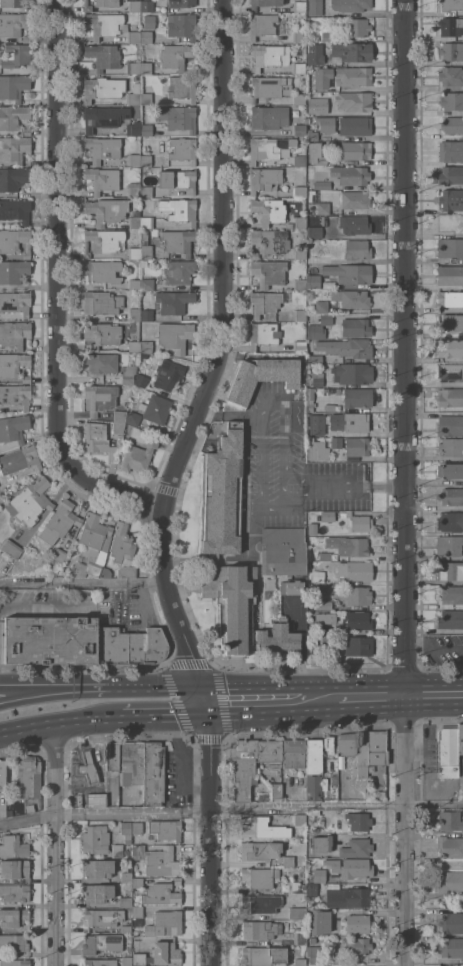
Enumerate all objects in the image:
building: (11, 3)
building: (106, 3)
building: (181, 3)
building: (264, 3)
building: (350, 4)
building: (450, 4)
building: (134, 5)
building: (147, 5)
building: (87, 6)
building: (300, 6)
building: (315, 7)
building: (149, 21)
building: (15, 24)
building: (181, 25)
building: (261, 25)
building: (110, 26)
building: (354, 26)
building: (450, 26)
building: (146, 35)
building: (299, 36)
building: (327, 36)
building: (352, 51)
building: (451, 51)
building: (314, 53)
building: (16, 55)
building: (270, 55)
building: (103, 56)
building: (175, 56)
building: (134, 67)
building: (146, 67)
building: (299, 67)
building: (451, 75)
building: (353, 76)
building: (137, 77)
building: (322, 77)
building: (13, 86)
building: (270, 86)
building: (182, 87)
building: (102, 88)
building: (134, 94)
building: (146, 98)
building: (299, 98)
building: (452, 100)
building: (354, 101)
building: (317, 105)
building: (104, 116)
building: (269, 116)
building: (15, 117)
building: (182, 118)
building: (309, 119)
building: (326, 124)
building: (355, 125)
building: (452, 125)
building: (133, 127)
building: (300, 128)
building: (146, 129)
building: (312, 133)
building: (14, 147)
building: (102, 148)
building: (269, 148)
building: (183, 149)
building: (357, 150)
building: (450, 151)
building: (315, 153)
building: (299, 157)
building: (134, 159)
building: (146, 160)
building: (350, 174)
building: (450, 174)
building: (13, 177)
building: (102, 178)
building: (178, 179)
building: (264, 179)
building: (320, 184)
building: (134, 189)
building: (146, 191)
building: (300, 191)
building: (311, 194)
building: (355, 199)
building: (451, 199)
building: (323, 208)
building: (15, 209)
building: (107, 210)
building: (183, 210)
building: (269, 210)
building: (134, 221)
building: (147, 221)
building: (300, 221)
building: (354, 224)
building: (314, 232)
building: (144, 236)
building: (14, 241)
building: (103, 241)
building: (179, 241)
building: (268, 241)
building: (450, 248)
building: (357, 249)
building: (146, 251)
building: (134, 252)
building: (299, 253)
building: (144, 263)
building: (103, 270)
building: (13, 271)
building: (179, 271)
building: (268, 272)
building: (349, 272)
building: (450, 275)
building: (313, 280)
road: (60, 282)
building: (134, 284)
building: (147, 284)
building: (300, 284)
building: (351, 298)
building: (449, 298)
building: (174, 301)
building: (15, 302)
building: (101, 302)
building: (264, 302)
building: (321, 306)
building: (147, 313)
building: (134, 314)
building: (300, 314)
building: (451, 322)
building: (319, 326)
building: (355, 327)
building: (14, 333)
building: (102, 334)
building: (263, 334)
building: (174, 335)
building: (134, 345)
building: (299, 345)
building: (146, 346)
building: (346, 347)
building: (449, 347)
building: (119, 348)
road: (216, 358)
building: (315, 358)
building: (102, 362)
building: (12, 363)
building: (450, 372)
building: (353, 373)
building: (128, 374)
building: (168, 374)
building: (261, 377)
building: (25, 378)
building: (317, 379)
building: (141, 380)
building: (15, 394)
building: (99, 397)
building: (357, 397)
building: (450, 397)
building: (310, 398)
building: (299, 402)
building: (329, 407)
building: (156, 408)
building: (119, 415)
building: (133, 418)
building: (354, 422)
road: (262, 424)
building: (450, 425)
building: (13, 427)
building: (117, 427)
building: (317, 429)
building: (97, 437)
building: (336, 442)
building: (357, 446)
building: (451, 446)
building: (316, 450)
building: (138, 454)
building: (19, 459)
building: (450, 470)
road: (404, 483)
road: (345, 486)
building: (223, 493)
building: (451, 496)
building: (29, 501)
building: (327, 516)
building: (60, 521)
building: (450, 521)
building: (360, 522)
building: (312, 528)
building: (93, 545)
building: (356, 545)
building: (448, 545)
building: (11, 548)
building: (122, 550)
building: (282, 550)
building: (59, 554)
building: (217, 556)
building: (324, 556)
building: (7, 566)
building: (355, 570)
building: (450, 571)
building: (106, 572)
building: (316, 575)
road: (141, 587)
building: (291, 587)
building: (451, 594)
building: (358, 595)
building: (327, 604)
road: (46, 606)
building: (234, 606)
building: (325, 617)
building: (450, 619)
building: (357, 620)
building: (322, 629)
building: (279, 637)
building: (50, 639)
building: (113, 645)
building: (358, 645)
building: (147, 646)
building: (462, 646)
road: (96, 668)
road: (42, 683)
road: (146, 683)
road: (42, 690)
road: (433, 693)
road: (359, 695)
road: (259, 698)
traffic signals: (205, 700)
road: (191, 707)
road: (88, 717)
road: (335, 728)
road: (103, 736)
building: (460, 738)
building: (328, 743)
building: (347, 743)
building: (377, 747)
building: (447, 750)
building: (293, 752)
building: (363, 754)
building: (112, 755)
building: (314, 756)
building: (131, 762)
building: (250, 762)
building: (88, 767)
building: (150, 773)
building: (159, 773)
building: (2, 774)
building: (29, 775)
building: (333, 779)
building: (314, 787)
building: (276, 790)
building: (17, 795)
building: (264, 796)
building: (96, 799)
building: (29, 807)
road: (231, 811)
building: (9, 812)
building: (299, 820)
building: (358, 820)
building: (450, 820)
building: (137, 828)
building: (262, 828)
building: (316, 828)
building: (166, 829)
building: (126, 831)
road: (210, 832)
building: (95, 839)
road: (55, 843)
building: (321, 843)
building: (13, 845)
building: (450, 846)
building: (356, 848)
building: (117, 850)
building: (259, 850)
building: (159, 860)
building: (288, 861)
building: (98, 867)
building: (350, 867)
building: (15, 868)
building: (317, 875)
building: (259, 876)
building: (125, 877)
building: (177, 881)
building: (450, 881)
building: (138, 882)
building: (296, 886)
building: (312, 889)
building: (14, 892)
building: (98, 892)
building: (161, 894)
building: (303, 897)
building: (347, 897)
building: (125, 902)
building: (261, 903)
building: (129, 909)
building: (297, 912)
building: (137, 915)
building: (13, 917)
building: (102, 917)
building: (319, 921)
building: (167, 922)
building: (450, 922)
building: (357, 923)
building: (125, 928)
building: (260, 929)
building: (299, 936)
building: (312, 940)
building: (13, 942)
building: (101, 942)
building: (357, 945)
building: (451, 947)
building: (159, 953)
building: (315, 954)
building: (262, 955)
building: (127, 961)
building: (14, 962)
building: (99, 962)
building: (300, 962)
building: (325, 965)
building: (452, 965)

